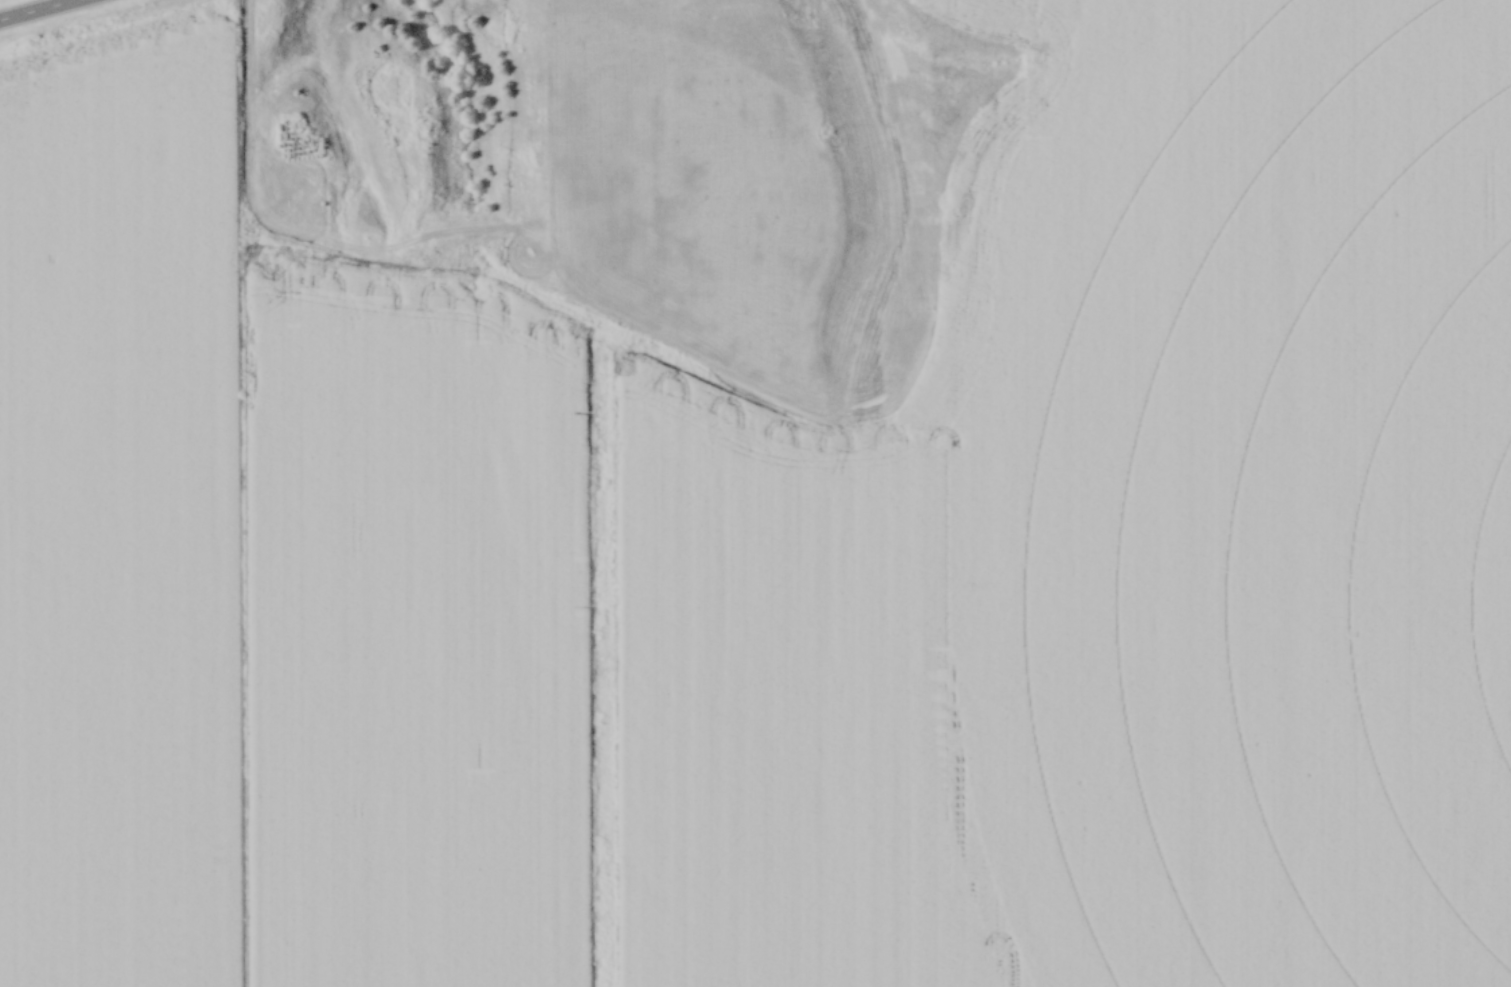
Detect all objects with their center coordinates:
road: (41, 10)

